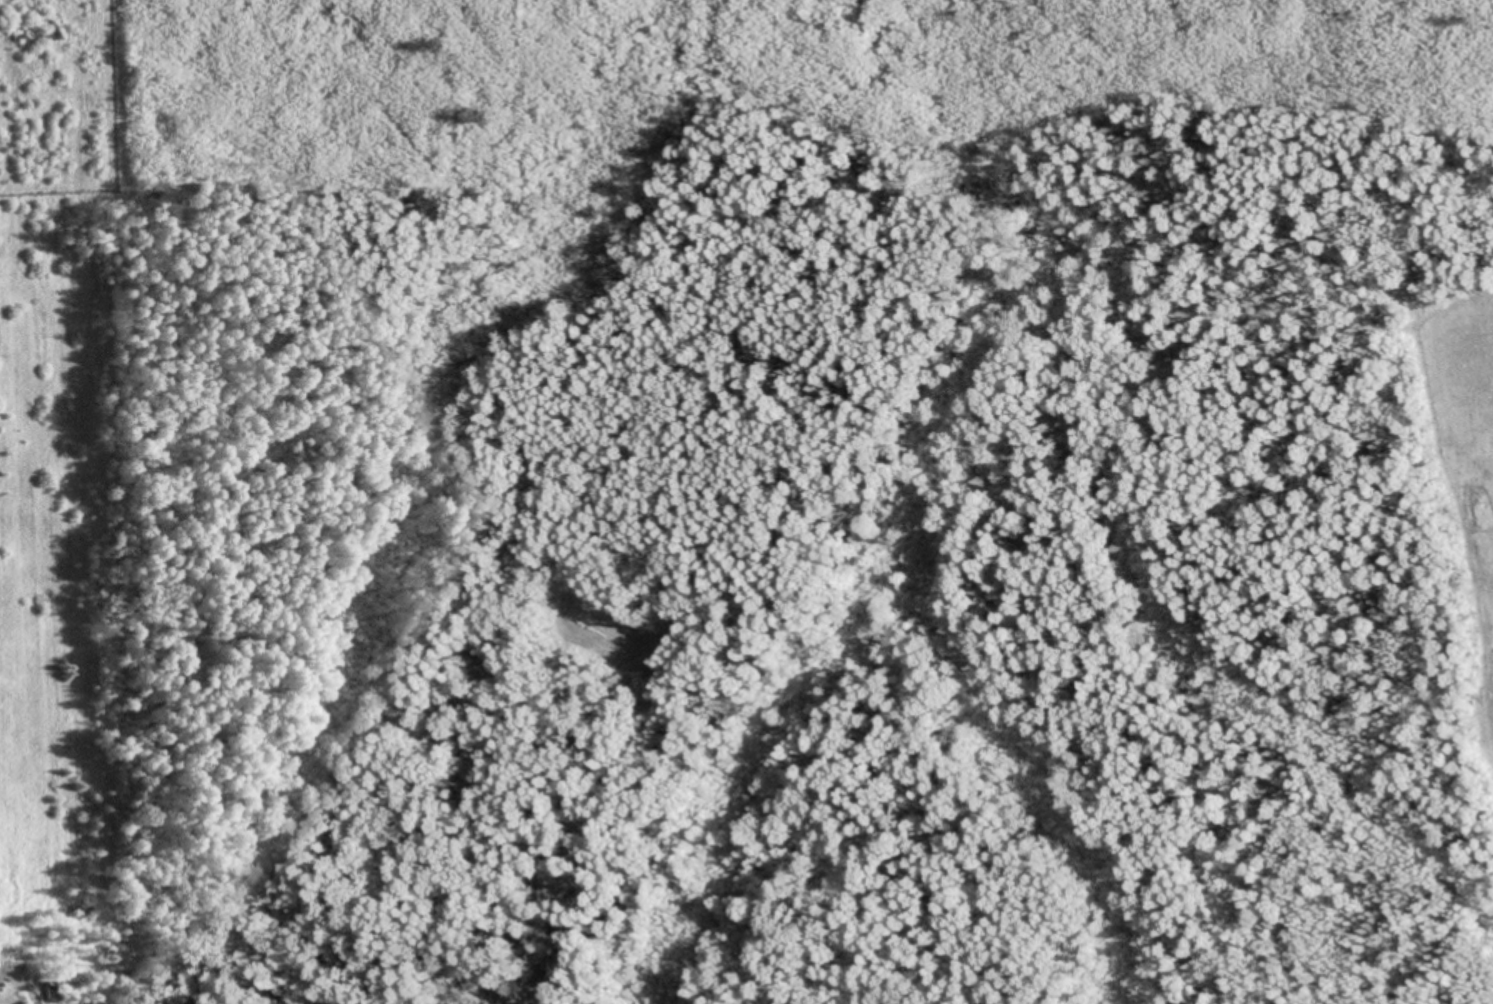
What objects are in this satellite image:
building: (42, 995)

